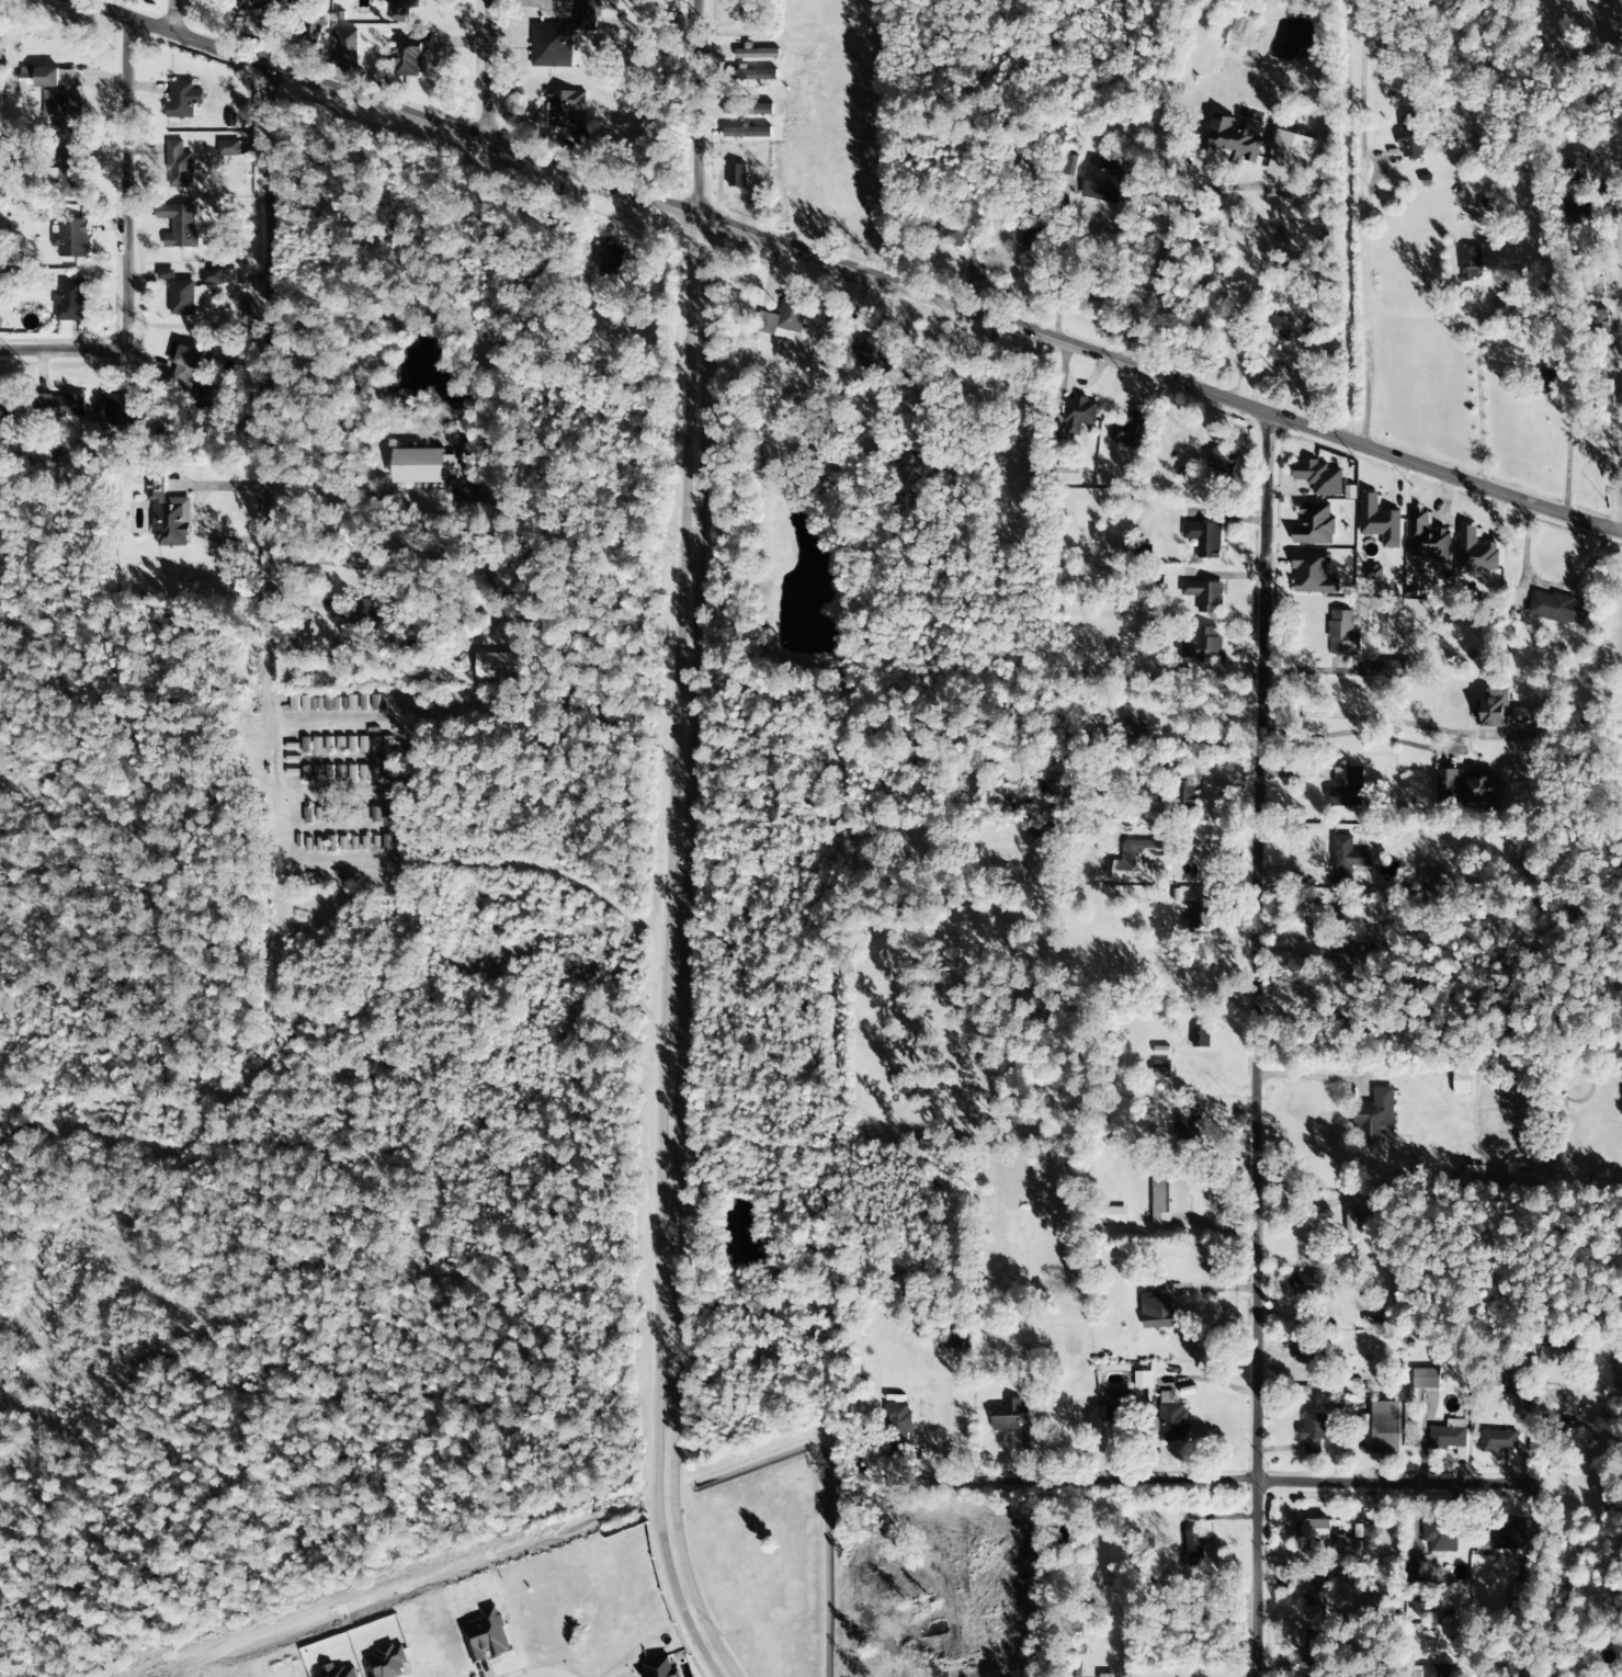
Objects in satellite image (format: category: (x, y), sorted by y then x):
building: (401, 9)
building: (745, 10)
building: (257, 12)
building: (587, 14)
road: (168, 15)
building: (1234, 23)
building: (347, 46)
building: (552, 46)
building: (408, 55)
road: (484, 71)
building: (758, 73)
building: (47, 78)
building: (67, 78)
building: (183, 99)
road: (696, 104)
building: (567, 112)
building: (66, 113)
building: (748, 132)
building: (1409, 136)
building: (1232, 138)
building: (229, 148)
building: (1290, 155)
building: (1068, 165)
building: (178, 166)
building: (1574, 167)
building: (71, 173)
building: (737, 175)
building: (1101, 181)
building: (1578, 214)
building: (179, 225)
building: (950, 231)
road: (120, 237)
building: (70, 238)
building: (1030, 239)
road: (1162, 243)
building: (611, 258)
building: (1470, 264)
road: (850, 270)
building: (166, 274)
building: (213, 277)
building: (185, 297)
building: (69, 302)
building: (784, 321)
road: (271, 325)
building: (1280, 328)
building: (870, 352)
building: (185, 362)
building: (1546, 383)
building: (206, 393)
building: (2, 405)
building: (58, 405)
building: (116, 409)
building: (1078, 415)
road: (1618, 429)
building: (1130, 431)
building: (1215, 457)
road: (1564, 462)
building: (423, 466)
building: (1067, 474)
building: (1317, 477)
building: (1349, 492)
building: (492, 497)
building: (168, 515)
building: (1379, 521)
building: (1314, 525)
building: (1428, 537)
building: (1203, 539)
building: (1475, 552)
building: (1312, 573)
building: (1373, 573)
building: (1204, 596)
building: (1557, 608)
building: (365, 611)
building: (1343, 634)
building: (302, 637)
building: (1202, 645)
building: (501, 666)
building: (1396, 670)
building: (364, 703)
building: (320, 704)
building: (350, 704)
building: (379, 704)
building: (1493, 709)
building: (1522, 716)
road: (1361, 718)
building: (1130, 722)
building: (317, 745)
building: (329, 745)
building: (341, 745)
building: (352, 745)
building: (364, 745)
building: (306, 746)
building: (318, 773)
building: (329, 773)
building: (341, 773)
building: (353, 773)
building: (364, 773)
building: (387, 773)
building: (306, 774)
building: (1181, 785)
building: (1347, 786)
building: (1467, 789)
building: (1058, 790)
building: (331, 815)
building: (375, 815)
building: (1078, 832)
building: (330, 843)
building: (343, 843)
building: (365, 843)
building: (1347, 859)
building: (1138, 862)
building: (1429, 874)
building: (1200, 913)
building: (1309, 914)
road: (677, 952)
building: (1200, 1038)
road: (1255, 1047)
building: (1160, 1051)
building: (1375, 1117)
building: (1188, 1128)
building: (1167, 1200)
building: (1113, 1215)
building: (1350, 1228)
building: (1307, 1284)
building: (1157, 1308)
building: (1306, 1355)
building: (1547, 1356)
building: (1617, 1372)
building: (1425, 1379)
building: (1142, 1380)
building: (1516, 1384)
building: (1010, 1416)
building: (897, 1417)
building: (1170, 1419)
building: (1385, 1428)
building: (1314, 1434)
building: (1448, 1436)
building: (1498, 1440)
road: (1394, 1484)
road: (1079, 1485)
building: (1440, 1536)
building: (1501, 1537)
building: (1338, 1539)
building: (1194, 1548)
building: (1416, 1571)
building: (1313, 1589)
building: (1524, 1593)
building: (486, 1636)
building: (1312, 1650)
building: (660, 1668)
building: (1436, 1670)
road: (544, 1674)
building: (1416, 1674)
building: (1107, 1676)

